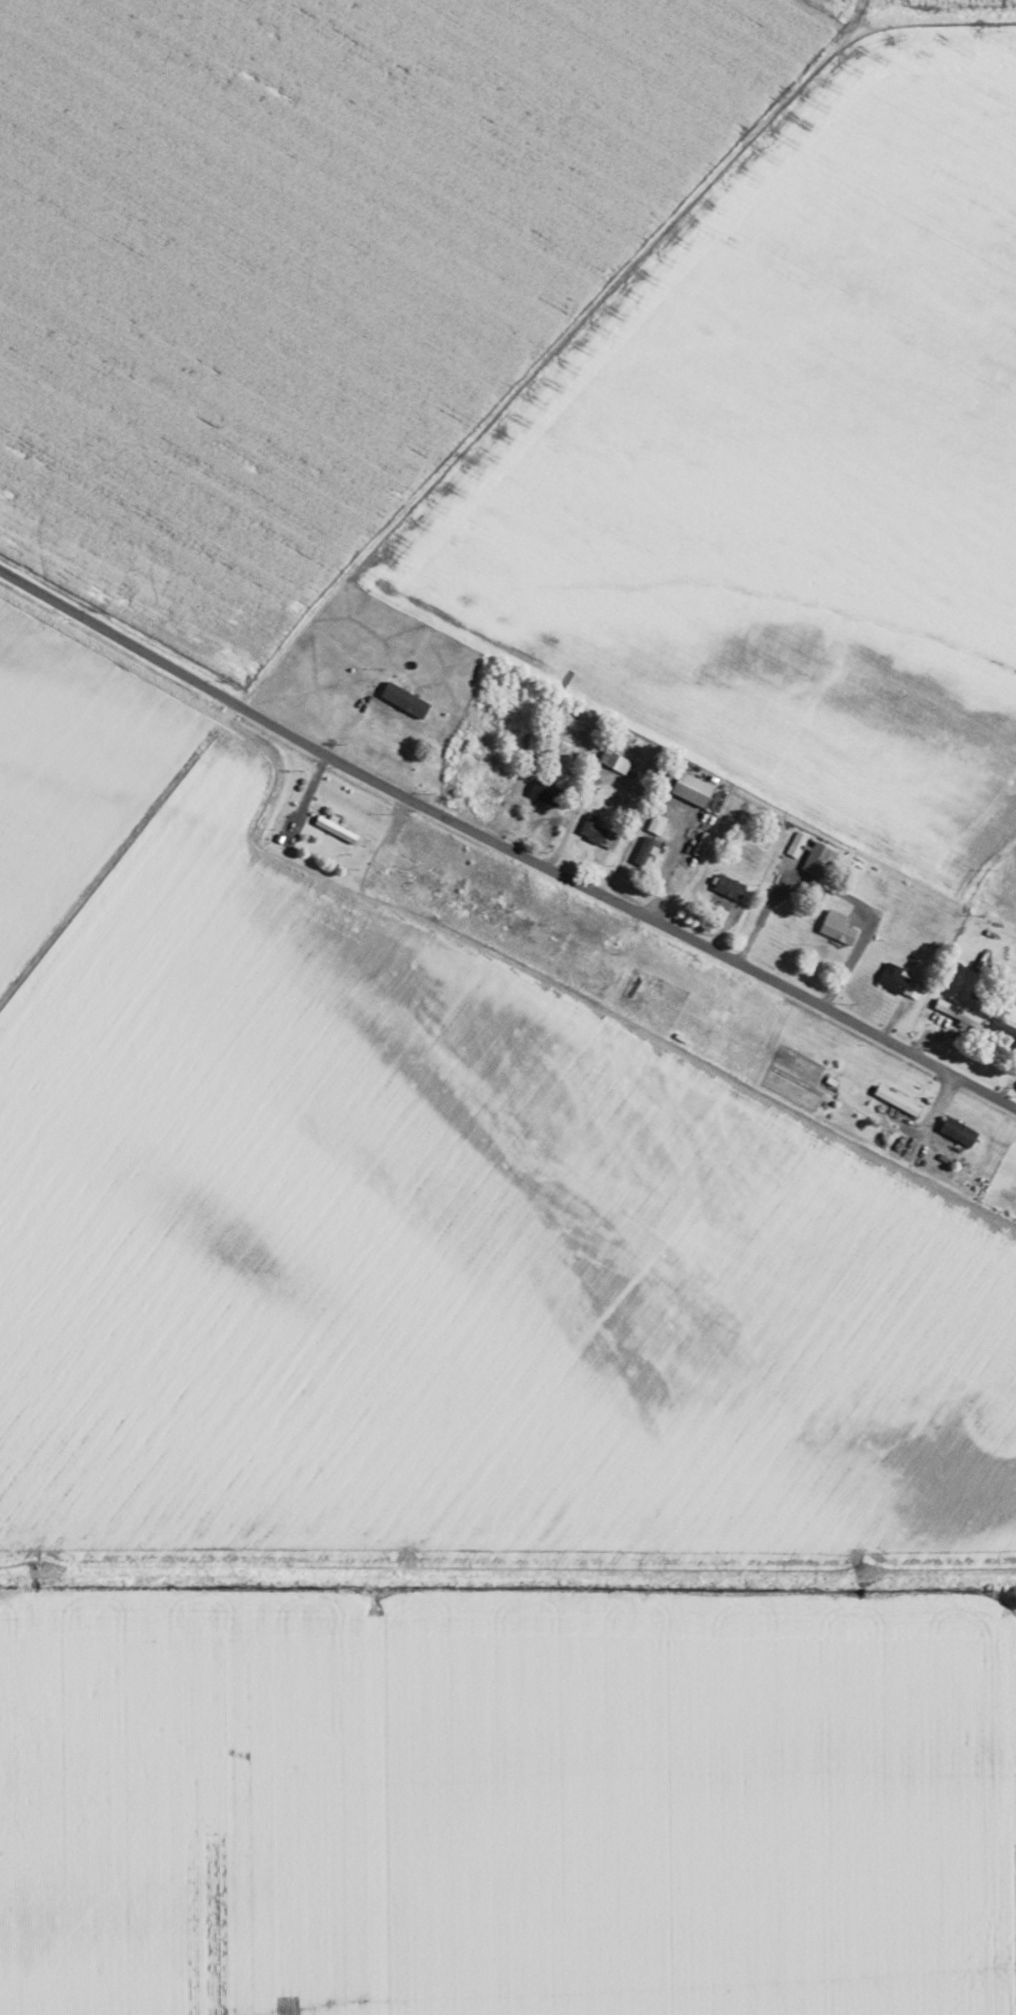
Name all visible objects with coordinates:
road: (936, 21)
road: (420, 483)
building: (377, 713)
building: (499, 733)
building: (704, 787)
building: (797, 844)
road: (504, 847)
building: (644, 850)
building: (819, 859)
building: (730, 886)
building: (838, 926)
building: (900, 981)
building: (958, 1012)
building: (1005, 1031)
building: (898, 1099)
building: (959, 1131)
road: (508, 1567)

